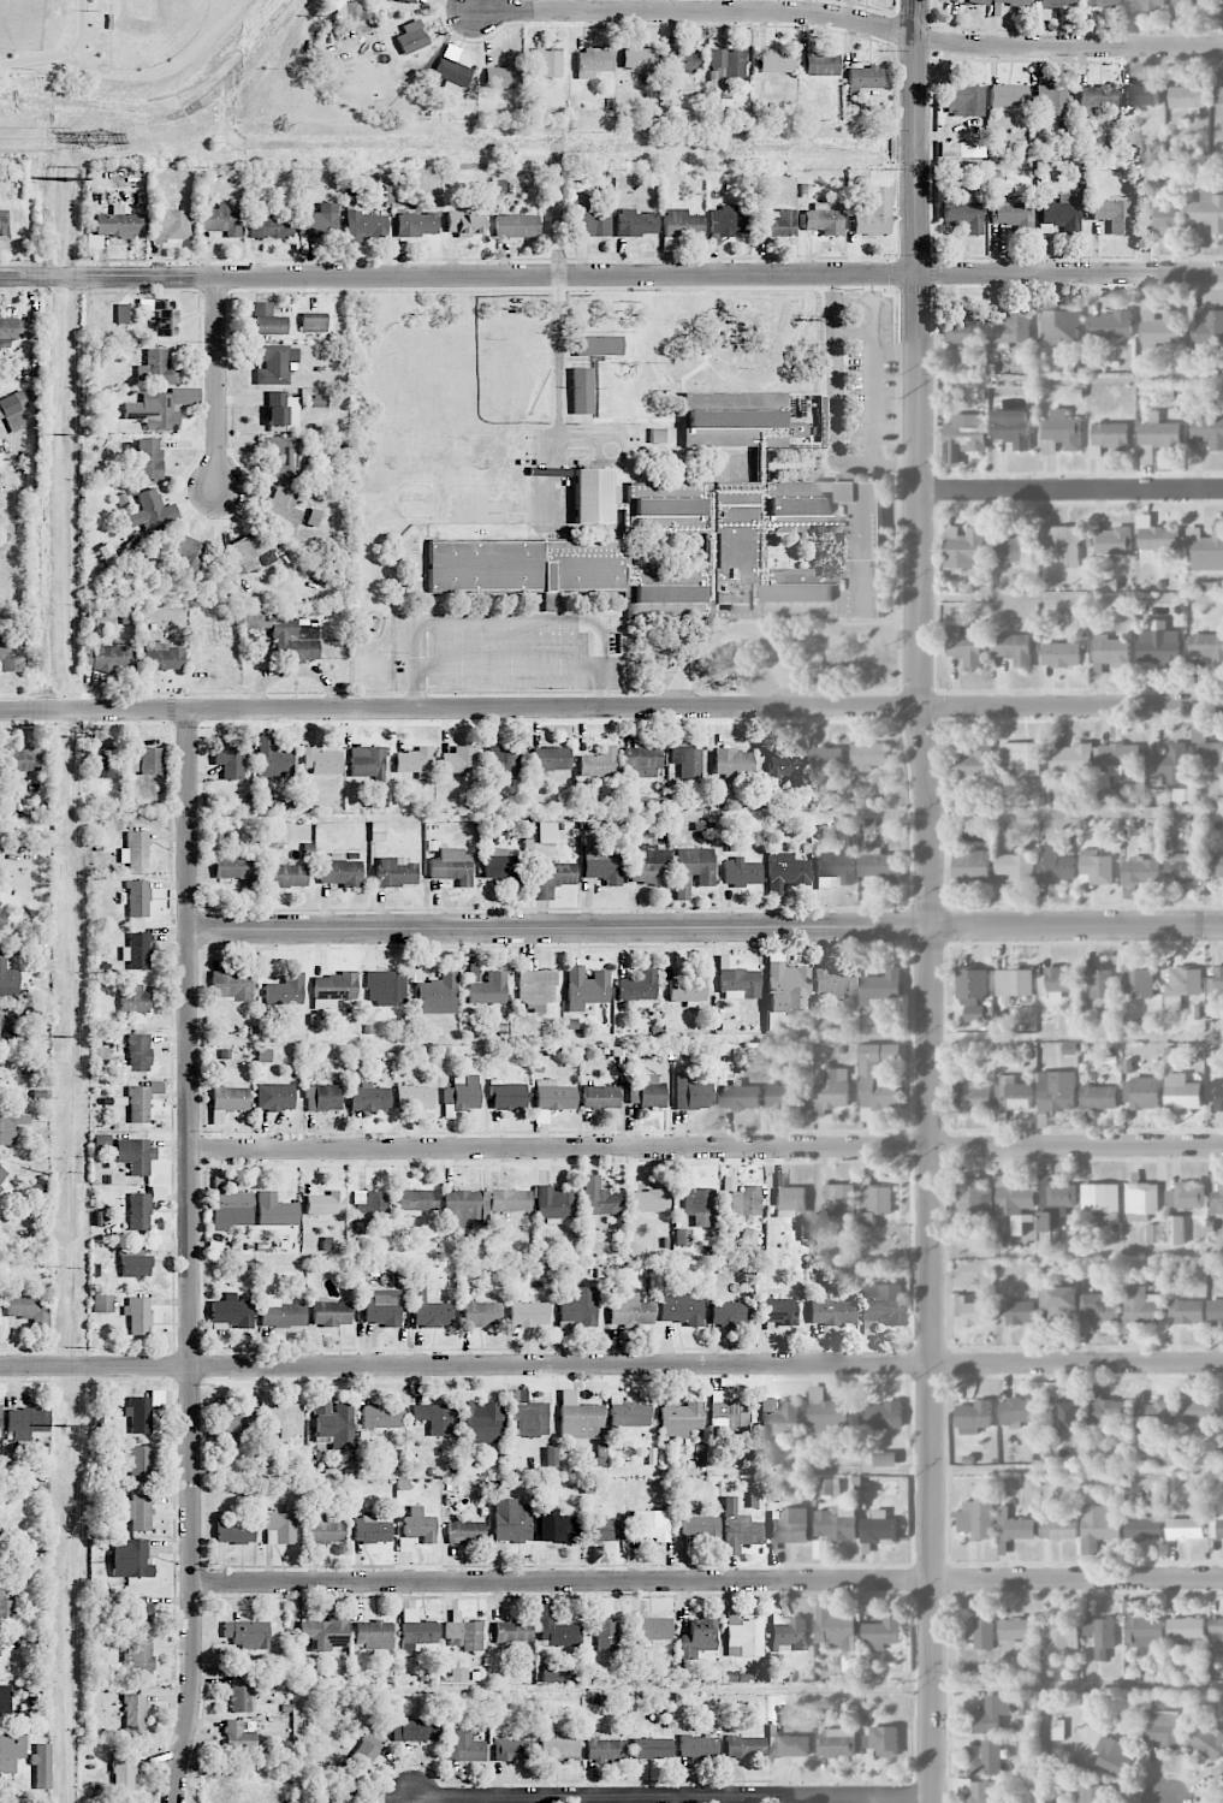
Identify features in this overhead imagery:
building: (414, 0)
building: (970, 2)
building: (1011, 2)
building: (1057, 2)
building: (1103, 2)
building: (1192, 2)
building: (1222, 4)
building: (1141, 7)
building: (348, 11)
road: (850, 18)
building: (411, 37)
park: (107, 40)
building: (639, 58)
building: (684, 60)
building: (547, 61)
building: (776, 61)
building: (592, 63)
building: (726, 64)
building: (821, 65)
building: (452, 66)
building: (501, 77)
building: (865, 77)
building: (1219, 94)
building: (1008, 95)
building: (1142, 95)
building: (1097, 96)
building: (1053, 99)
building: (1187, 99)
building: (964, 100)
power tower: (102, 138)
building: (961, 149)
power tower: (66, 180)
building: (1206, 210)
building: (873, 212)
building: (1058, 212)
building: (964, 214)
building: (1112, 214)
building: (1013, 215)
building: (1158, 218)
building: (221, 220)
building: (319, 220)
building: (592, 220)
building: (728, 220)
building: (823, 220)
building: (168, 221)
building: (118, 223)
building: (635, 223)
building: (776, 223)
building: (417, 224)
building: (463, 224)
building: (682, 224)
building: (4, 225)
building: (516, 225)
building: (271, 226)
building: (363, 227)
road: (611, 275)
building: (126, 313)
building: (160, 315)
building: (267, 319)
building: (314, 321)
building: (1057, 324)
building: (1011, 326)
building: (1110, 326)
building: (1207, 327)
building: (11, 328)
building: (963, 328)
building: (1159, 328)
building: (598, 345)
building: (275, 364)
building: (156, 368)
road: (874, 373)
road: (218, 387)
building: (581, 390)
road: (556, 392)
building: (13, 410)
road: (833, 410)
building: (154, 411)
building: (283, 411)
building: (736, 420)
building: (1014, 428)
building: (1062, 429)
building: (1210, 431)
power tower: (66, 433)
building: (1158, 437)
building: (1109, 438)
building: (961, 443)
building: (0, 451)
building: (281, 456)
building: (149, 458)
road: (920, 464)
road: (1071, 491)
building: (592, 496)
building: (281, 509)
building: (148, 510)
building: (1154, 539)
building: (1114, 541)
building: (1064, 542)
building: (1013, 546)
building: (963, 547)
building: (1206, 550)
building: (248, 551)
building: (188, 553)
building: (524, 565)
building: (666, 593)
road: (731, 627)
building: (284, 633)
building: (964, 646)
building: (1159, 647)
building: (1207, 647)
building: (1014, 648)
building: (1110, 652)
building: (1062, 654)
building: (11, 656)
building: (106, 657)
building: (164, 657)
road: (509, 663)
road: (611, 710)
power tower: (66, 736)
building: (824, 757)
building: (869, 757)
building: (552, 758)
building: (1071, 758)
building: (1120, 758)
building: (20, 759)
building: (273, 759)
building: (1021, 759)
building: (150, 760)
building: (321, 760)
building: (459, 760)
building: (687, 760)
building: (131, 761)
building: (228, 761)
building: (367, 761)
building: (415, 761)
building: (641, 761)
building: (102, 763)
building: (973, 763)
building: (504, 764)
building: (598, 764)
building: (732, 764)
building: (782, 765)
building: (1169, 765)
building: (1105, 789)
building: (648, 802)
building: (378, 831)
building: (546, 832)
building: (215, 841)
building: (135, 849)
building: (601, 862)
building: (647, 865)
building: (452, 866)
building: (505, 866)
building: (880, 866)
building: (972, 866)
building: (1215, 866)
building: (1016, 867)
building: (1056, 867)
building: (237, 868)
building: (691, 868)
building: (835, 868)
building: (1096, 868)
building: (1183, 868)
building: (339, 871)
building: (396, 872)
building: (740, 872)
building: (785, 873)
building: (284, 874)
building: (1139, 874)
building: (552, 877)
building: (137, 898)
building: (2, 912)
road: (1076, 927)
road: (559, 929)
building: (137, 950)
building: (737, 980)
building: (1098, 980)
building: (1138, 981)
building: (8, 983)
building: (1056, 983)
building: (833, 984)
building: (972, 984)
building: (1014, 984)
building: (1216, 985)
building: (232, 986)
building: (486, 986)
building: (637, 986)
building: (880, 986)
building: (1182, 986)
building: (385, 988)
building: (584, 988)
building: (688, 988)
building: (333, 989)
building: (535, 989)
building: (286, 990)
building: (785, 994)
building: (437, 995)
building: (133, 998)
power tower: (66, 1038)
building: (138, 1051)
building: (1, 1070)
building: (878, 1075)
building: (832, 1091)
building: (1057, 1091)
building: (462, 1092)
building: (1182, 1092)
building: (648, 1093)
building: (691, 1093)
building: (1014, 1093)
building: (1142, 1093)
building: (1216, 1093)
building: (506, 1095)
building: (553, 1096)
building: (740, 1096)
building: (785, 1096)
building: (973, 1096)
building: (275, 1097)
building: (322, 1097)
building: (369, 1097)
building: (600, 1097)
building: (1099, 1097)
building: (414, 1098)
building: (142, 1101)
building: (227, 1101)
building: (10, 1125)
road: (706, 1149)
building: (127, 1152)
building: (4, 1178)
building: (1186, 1196)
building: (599, 1198)
building: (841, 1198)
building: (510, 1200)
building: (648, 1200)
building: (746, 1200)
building: (974, 1200)
building: (1141, 1200)
building: (1217, 1200)
building: (415, 1202)
building: (553, 1202)
building: (790, 1202)
building: (1014, 1202)
building: (326, 1203)
building: (874, 1203)
building: (1100, 1203)
building: (230, 1206)
building: (700, 1206)
building: (463, 1208)
building: (369, 1209)
building: (1053, 1209)
building: (274, 1210)
building: (139, 1211)
building: (1175, 1230)
building: (805, 1232)
building: (1154, 1234)
building: (683, 1236)
road: (190, 1258)
building: (135, 1263)
building: (969, 1281)
building: (1058, 1301)
building: (102, 1304)
building: (26, 1306)
building: (580, 1306)
building: (880, 1306)
building: (382, 1307)
building: (429, 1307)
building: (679, 1307)
building: (1140, 1307)
building: (630, 1310)
building: (231, 1311)
building: (778, 1311)
building: (830, 1311)
building: (973, 1311)
building: (1017, 1311)
building: (1186, 1311)
building: (1215, 1311)
building: (281, 1312)
building: (1102, 1312)
building: (331, 1313)
building: (482, 1313)
building: (529, 1313)
building: (729, 1313)
building: (138, 1315)
road: (611, 1365)
road: (933, 1365)
building: (1199, 1408)
building: (1106, 1412)
building: (826, 1413)
building: (1019, 1413)
building: (139, 1414)
building: (728, 1414)
building: (381, 1416)
building: (528, 1416)
building: (880, 1416)
building: (974, 1416)
building: (238, 1417)
building: (580, 1417)
building: (630, 1417)
building: (678, 1417)
building: (779, 1417)
building: (1071, 1417)
building: (1152, 1417)
building: (284, 1418)
building: (434, 1418)
building: (26, 1421)
building: (0, 1422)
building: (483, 1422)
building: (334, 1423)
power tower: (66, 1425)
building: (1168, 1455)
building: (885, 1459)
building: (139, 1464)
building: (826, 1487)
building: (137, 1512)
building: (975, 1518)
building: (510, 1520)
building: (837, 1523)
building: (418, 1525)
building: (558, 1525)
building: (651, 1525)
building: (699, 1525)
building: (789, 1525)
building: (1015, 1526)
building: (1141, 1526)
building: (1216, 1526)
building: (279, 1528)
building: (879, 1528)
building: (1097, 1528)
building: (1058, 1529)
building: (1186, 1529)
building: (372, 1530)
building: (604, 1530)
building: (325, 1531)
building: (464, 1531)
building: (234, 1532)
building: (740, 1532)
building: (0, 1535)
building: (130, 1558)
road: (706, 1582)
building: (1, 1605)
building: (142, 1613)
building: (1141, 1627)
building: (553, 1629)
building: (651, 1629)
building: (1186, 1629)
building: (1216, 1629)
building: (1016, 1630)
building: (416, 1631)
building: (788, 1631)
building: (326, 1632)
building: (512, 1632)
building: (247, 1633)
building: (463, 1633)
building: (604, 1633)
building: (881, 1633)
building: (981, 1633)
building: (1059, 1633)
building: (373, 1635)
building: (1100, 1635)
building: (699, 1636)
building: (743, 1636)
building: (839, 1636)
building: (0, 1644)
building: (138, 1656)
building: (243, 1692)
building: (5, 1701)
building: (133, 1712)
building: (990, 1716)
building: (1162, 1727)
building: (416, 1730)
building: (1058, 1730)
building: (238, 1736)
building: (884, 1740)
building: (1207, 1742)
building: (838, 1743)
building: (463, 1746)
building: (697, 1746)
building: (743, 1746)
building: (791, 1746)
building: (558, 1748)
building: (651, 1748)
building: (511, 1749)
building: (605, 1749)
building: (11, 1751)
building: (363, 1755)
building: (1112, 1756)
building: (989, 1758)
building: (42, 1766)
building: (123, 1771)
building: (1218, 1771)
building: (985, 1793)
building: (1093, 1793)
road: (672, 1798)
building: (343, 1799)
building: (1, 1801)
road: (409, 1801)
road: (1170, 1802)

